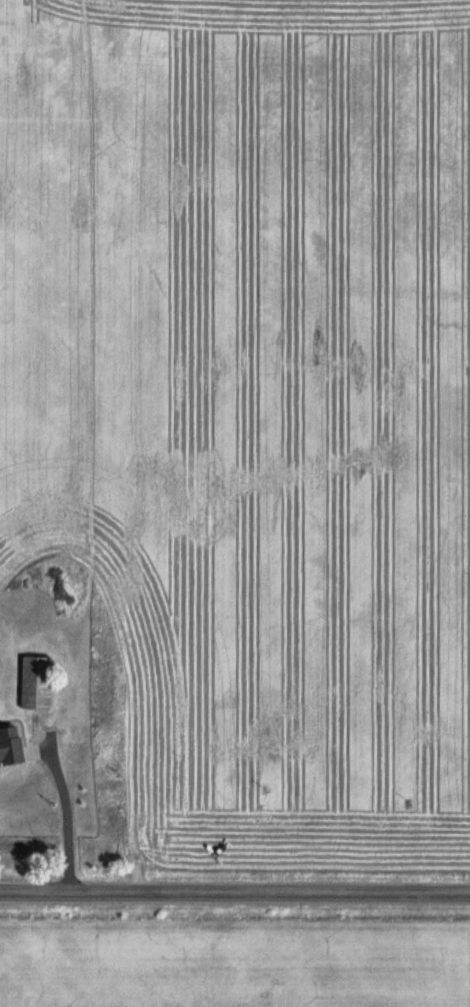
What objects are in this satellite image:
building: (35, 681)
building: (10, 744)
road: (234, 888)

